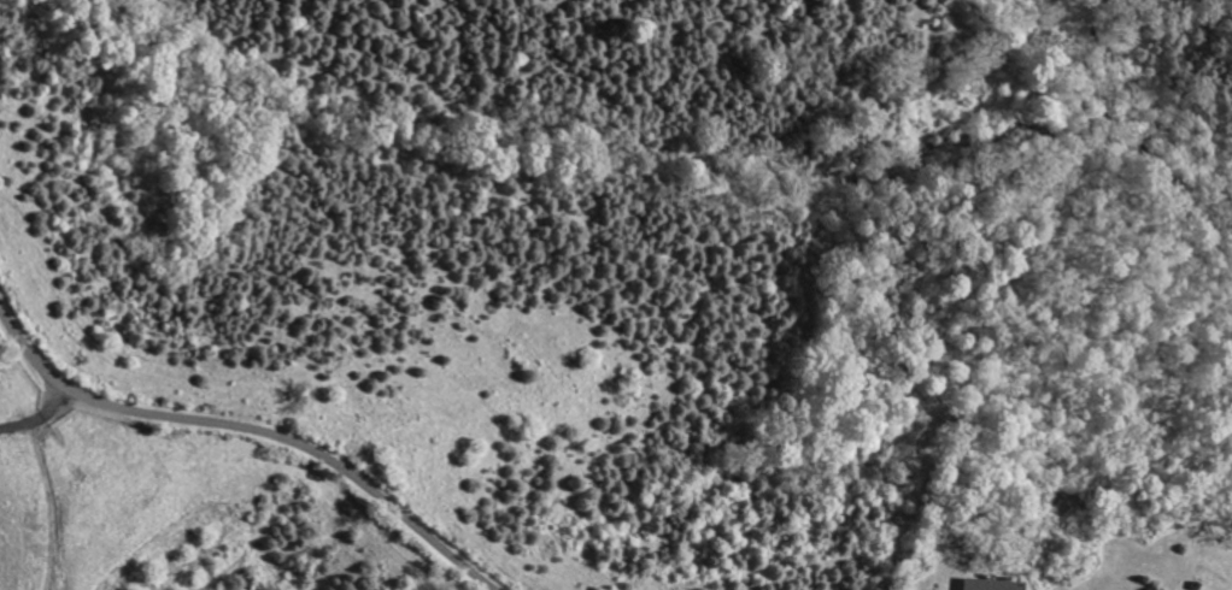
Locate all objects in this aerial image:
road: (41, 419)
road: (251, 429)

